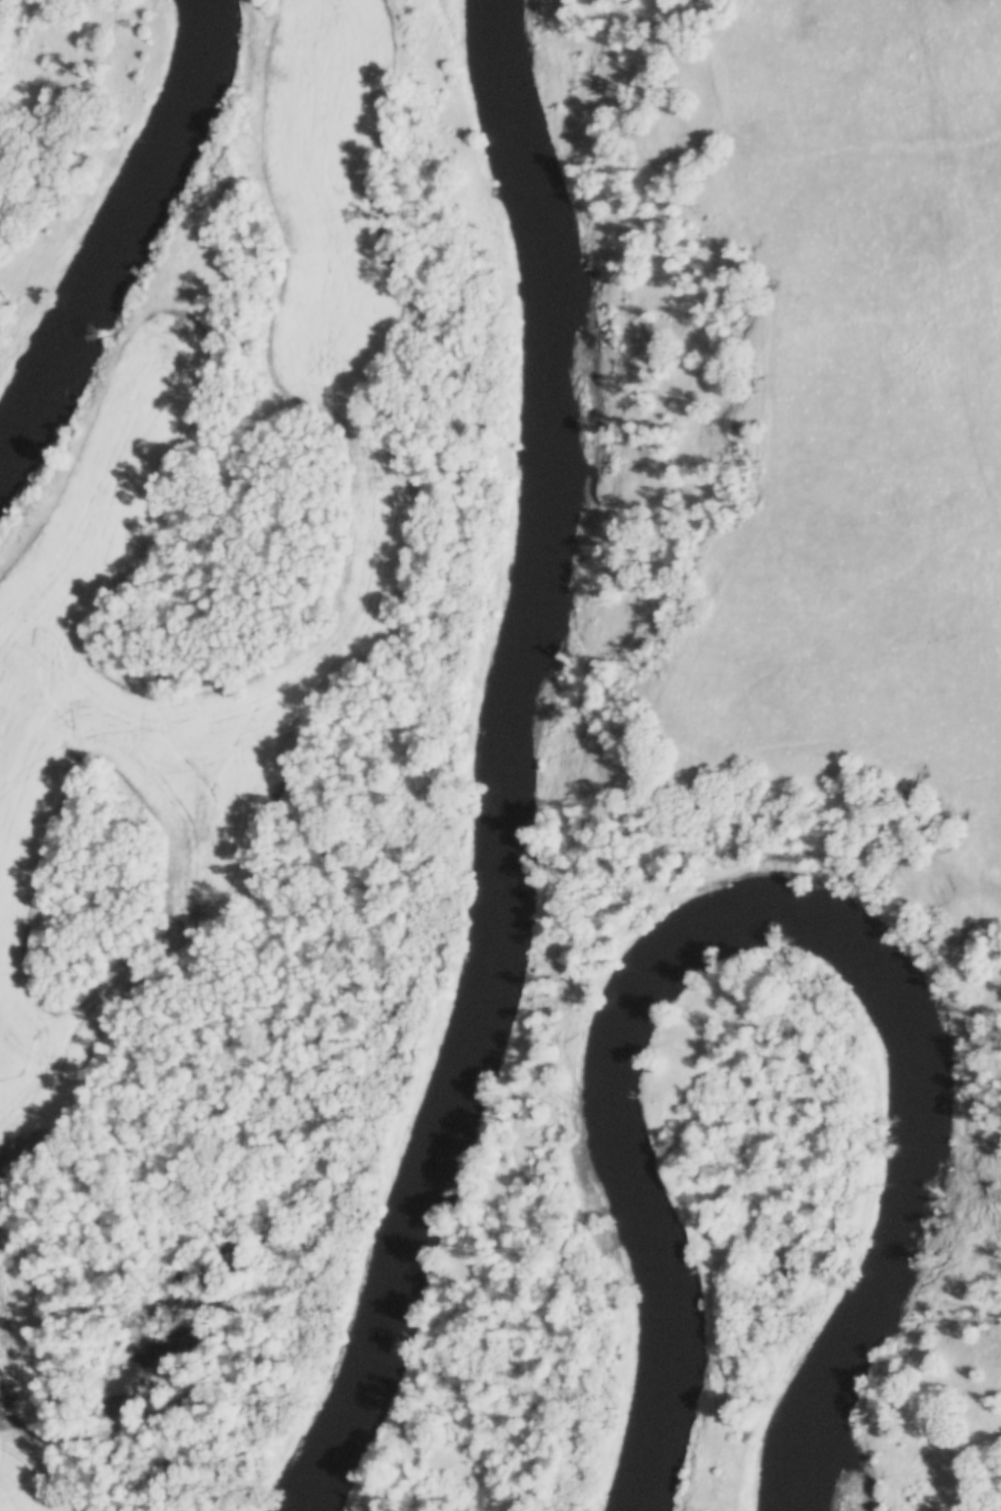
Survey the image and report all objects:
river: (129, 243)
river: (515, 765)
river: (772, 927)

